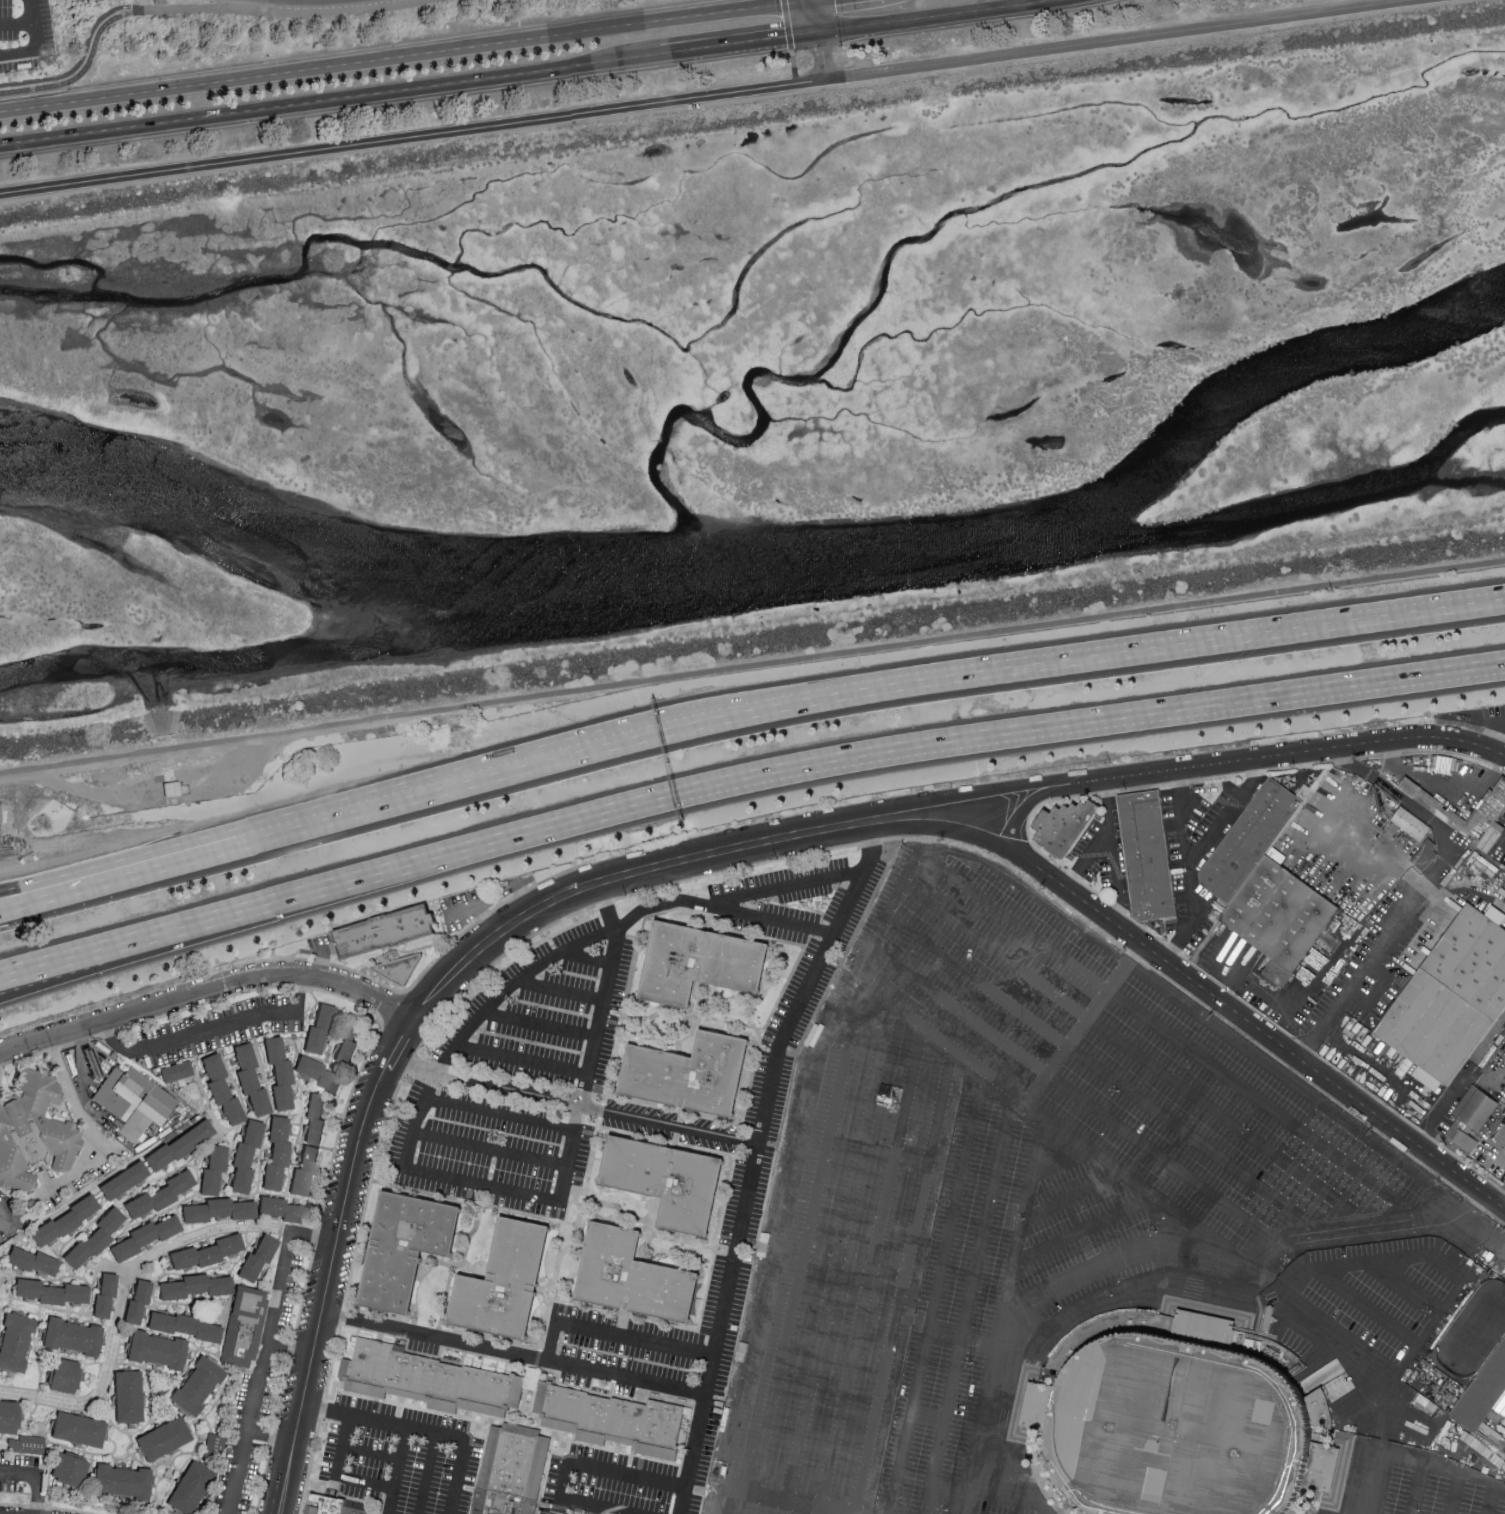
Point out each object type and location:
road: (243, 5)
road: (281, 10)
road: (811, 17)
road: (936, 17)
road: (786, 24)
road: (17, 25)
parking lot: (24, 34)
traffic signals: (815, 34)
road: (1121, 40)
road: (38, 43)
road: (737, 44)
road: (401, 53)
road: (819, 57)
road: (81, 63)
road: (330, 101)
road: (412, 137)
river: (778, 568)
road: (1082, 657)
road: (751, 662)
road: (1088, 722)
road: (1289, 754)
road: (443, 787)
road: (943, 798)
road: (1026, 805)
road: (1230, 812)
building: (1485, 815)
building: (1062, 824)
building: (1410, 824)
road: (844, 831)
road: (955, 832)
building: (1491, 837)
building: (1249, 840)
road: (1369, 849)
road: (872, 852)
building: (1146, 854)
road: (1111, 855)
building: (1424, 856)
road: (1087, 859)
road: (913, 860)
road: (1189, 870)
road: (113, 871)
road: (113, 883)
road: (1425, 885)
road: (337, 886)
road: (787, 888)
road: (478, 908)
road: (635, 913)
building: (1279, 913)
building: (389, 929)
road: (585, 956)
road: (106, 959)
road: (321, 960)
building: (1473, 960)
building: (698, 965)
building: (400, 969)
road: (532, 969)
road: (206, 988)
road: (560, 988)
road: (1280, 1008)
road: (231, 1021)
road: (537, 1024)
building: (1434, 1026)
parking lot: (217, 1028)
building: (318, 1028)
road: (1074, 1033)
road: (1170, 1036)
road: (1269, 1037)
building: (349, 1039)
road: (398, 1042)
road: (1138, 1055)
road: (520, 1057)
building: (176, 1070)
building: (279, 1071)
building: (318, 1073)
road: (1102, 1073)
building: (689, 1076)
building: (250, 1078)
building: (221, 1088)
building: (135, 1097)
road: (1076, 1098)
road: (573, 1102)
road: (1445, 1104)
building: (1475, 1110)
road: (1041, 1116)
road: (86, 1127)
building: (33, 1129)
building: (1500, 1136)
building: (1465, 1142)
road: (1483, 1143)
building: (179, 1144)
building: (310, 1144)
road: (489, 1148)
building: (1504, 1149)
building: (276, 1151)
building: (245, 1155)
building: (213, 1169)
road: (750, 1170)
road: (419, 1171)
building: (123, 1179)
building: (666, 1183)
building: (160, 1194)
road: (1070, 1197)
road: (1501, 1198)
building: (282, 1208)
building: (218, 1209)
road: (1024, 1215)
parking lot: (1058, 1215)
building: (64, 1220)
road: (987, 1220)
road: (1082, 1228)
road: (1334, 1235)
building: (95, 1236)
building: (144, 1236)
building: (405, 1250)
building: (206, 1251)
road: (767, 1252)
building: (257, 1256)
road: (835, 1258)
building: (33, 1260)
road: (1442, 1262)
road: (869, 1269)
road: (1068, 1276)
building: (633, 1280)
road: (901, 1281)
road: (1411, 1282)
building: (194, 1285)
building: (504, 1285)
road: (1080, 1287)
building: (51, 1291)
road: (935, 1292)
building: (104, 1294)
road: (122, 1297)
building: (137, 1300)
building: (244, 1324)
building: (184, 1325)
park: (1474, 1331)
road: (613, 1332)
building: (72, 1335)
road: (1339, 1339)
building: (14, 1340)
road: (262, 1347)
building: (157, 1349)
road: (514, 1352)
building: (62, 1375)
building: (429, 1375)
building: (197, 1384)
building: (1482, 1393)
building: (128, 1395)
road: (948, 1406)
building: (9, 1416)
building: (1173, 1417)
stadium: (1173, 1417)
building: (615, 1421)
building: (77, 1428)
road: (423, 1430)
road: (982, 1432)
building: (163, 1438)
road: (271, 1438)
building: (214, 1441)
building: (26, 1444)
road: (370, 1451)
road: (398, 1457)
building: (1320, 1466)
building: (69, 1468)
parking lot: (16, 1472)
road: (623, 1472)
road: (427, 1473)
building: (512, 1473)
road: (38, 1475)
road: (1440, 1475)
road: (345, 1479)
building: (122, 1480)
building: (190, 1487)
road: (1500, 1489)
road: (1417, 1492)
road: (1012, 1496)
road: (1454, 1496)
road: (784, 1499)
road: (1492, 1500)
road: (559, 1504)
road: (603, 1504)
building: (331, 1506)
road: (599, 1509)

